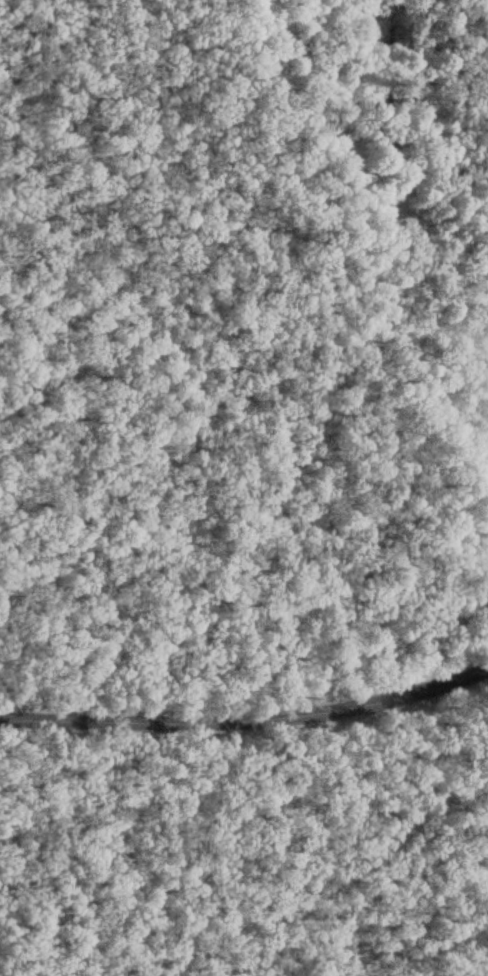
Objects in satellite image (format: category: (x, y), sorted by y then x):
road: (247, 682)

